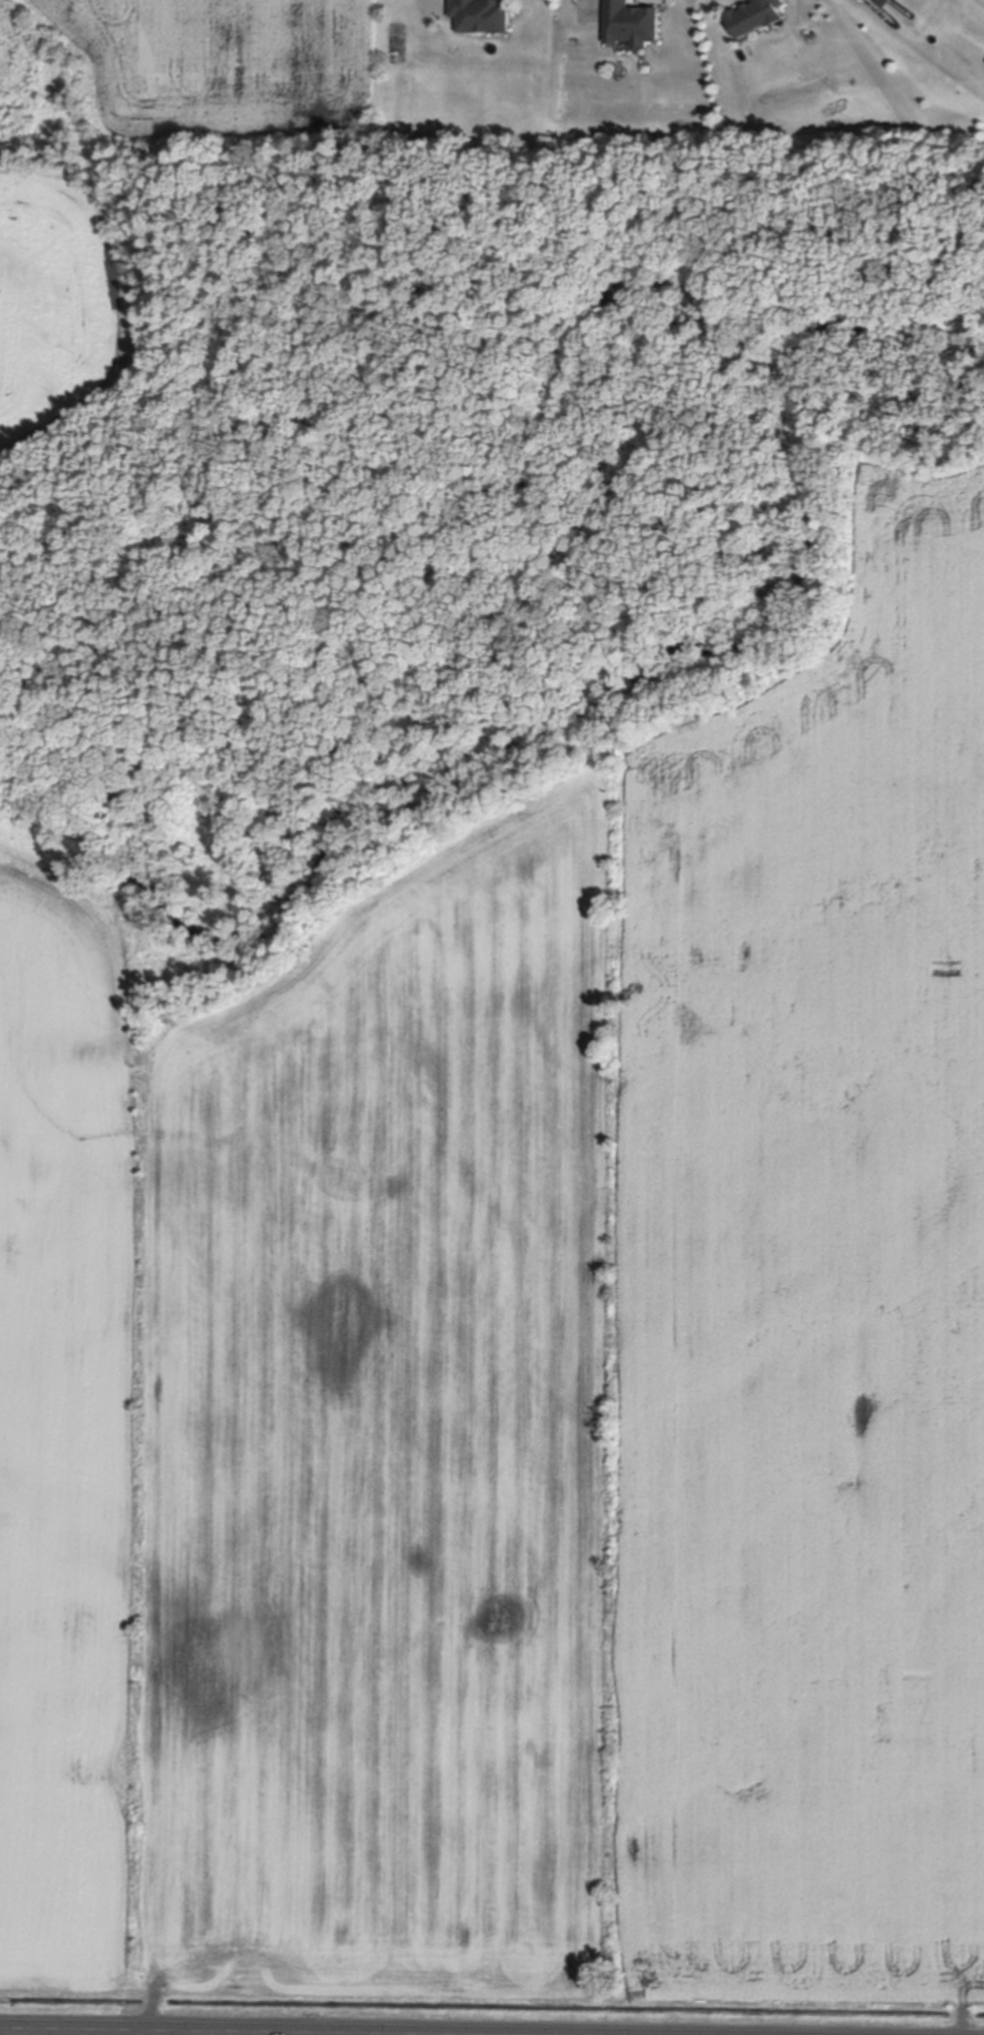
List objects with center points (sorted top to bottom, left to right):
building: (868, 1)
building: (480, 17)
building: (757, 18)
building: (631, 26)
road: (244, 2032)
road: (315, 2034)

